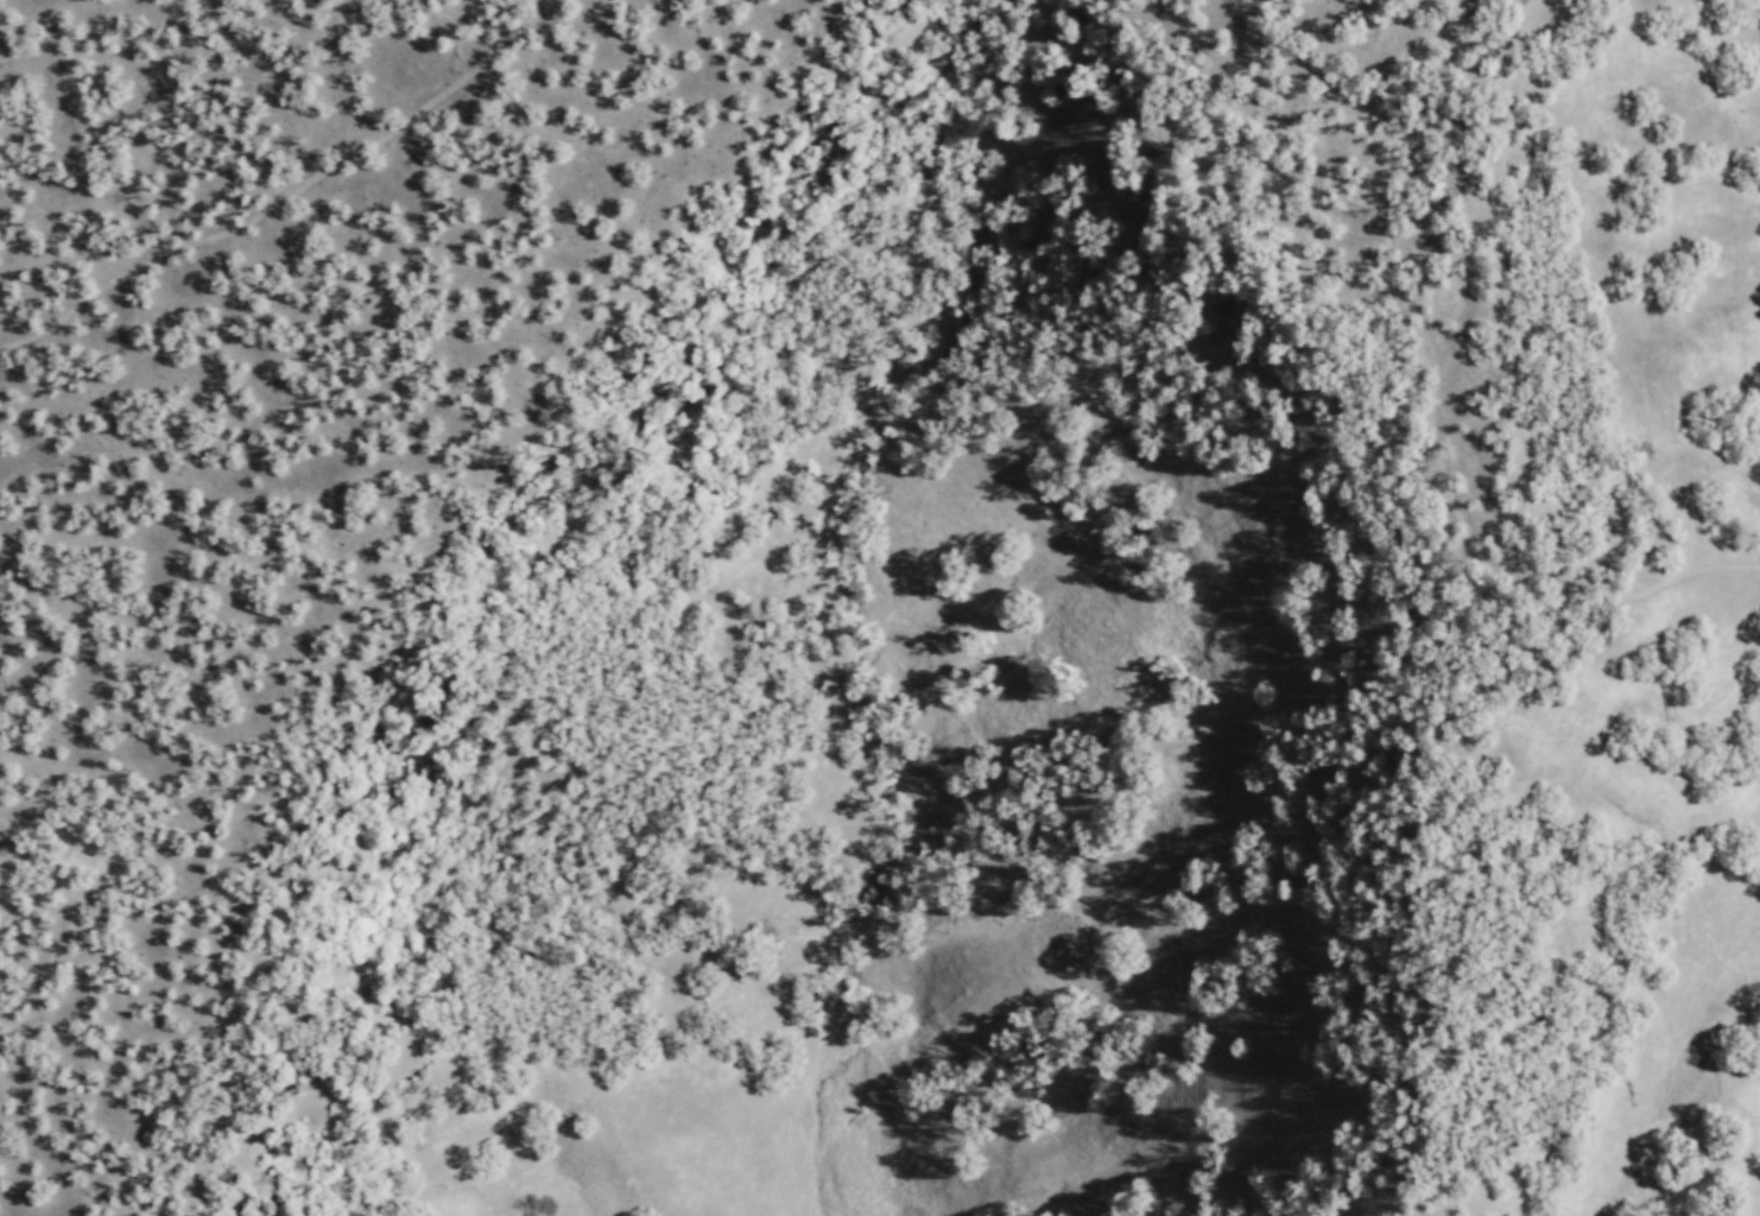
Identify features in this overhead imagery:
road: (285, 195)

